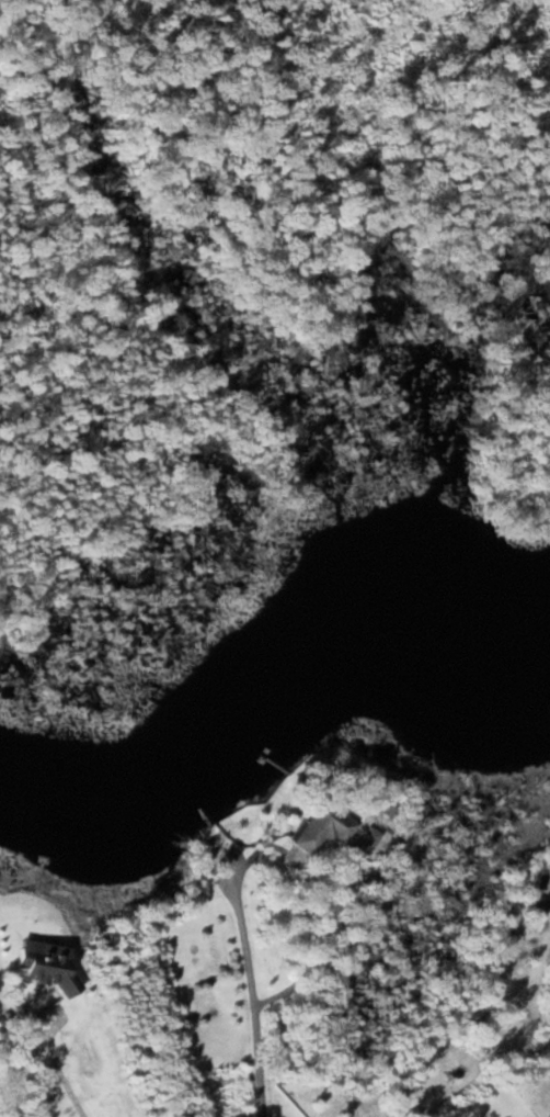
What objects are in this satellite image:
building: (321, 828)
road: (242, 990)

